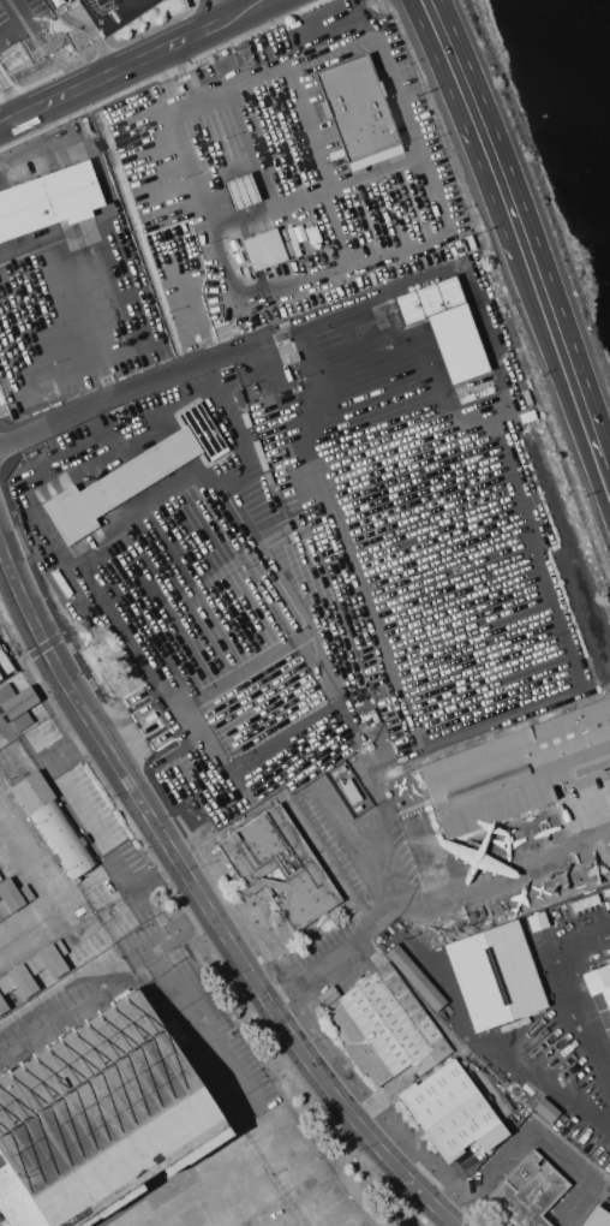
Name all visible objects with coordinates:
road: (128, 4)
parking lot: (58, 6)
road: (222, 11)
road: (252, 11)
parking lot: (115, 12)
road: (22, 22)
road: (90, 34)
parking lot: (17, 52)
road: (113, 75)
road: (171, 79)
building: (357, 107)
road: (483, 125)
road: (250, 145)
road: (321, 161)
building: (240, 191)
road: (311, 192)
road: (432, 198)
building: (49, 200)
building: (263, 249)
road: (360, 305)
building: (445, 326)
road: (490, 337)
road: (245, 350)
road: (569, 362)
road: (262, 369)
road: (115, 399)
building: (528, 416)
road: (609, 471)
building: (133, 475)
road: (223, 475)
road: (345, 570)
road: (22, 593)
road: (566, 631)
airport: (282, 651)
building: (4, 666)
road: (209, 690)
building: (16, 706)
road: (137, 710)
road: (490, 736)
building: (515, 769)
building: (32, 792)
road: (377, 792)
road: (244, 793)
building: (61, 839)
road: (390, 849)
road: (348, 856)
building: (279, 865)
building: (0, 877)
road: (506, 879)
building: (12, 897)
airport hangar: (31, 936)
road: (235, 950)
road: (342, 956)
building: (50, 959)
building: (495, 975)
building: (414, 977)
building: (20, 981)
building: (598, 982)
road: (569, 994)
building: (2, 1001)
building: (384, 1026)
road: (480, 1043)
airport apron: (120, 1048)
building: (448, 1109)
building: (545, 1109)
building: (103, 1114)
building: (491, 1136)
building: (8, 1189)
building: (527, 1191)
building: (23, 1214)
building: (597, 1218)

